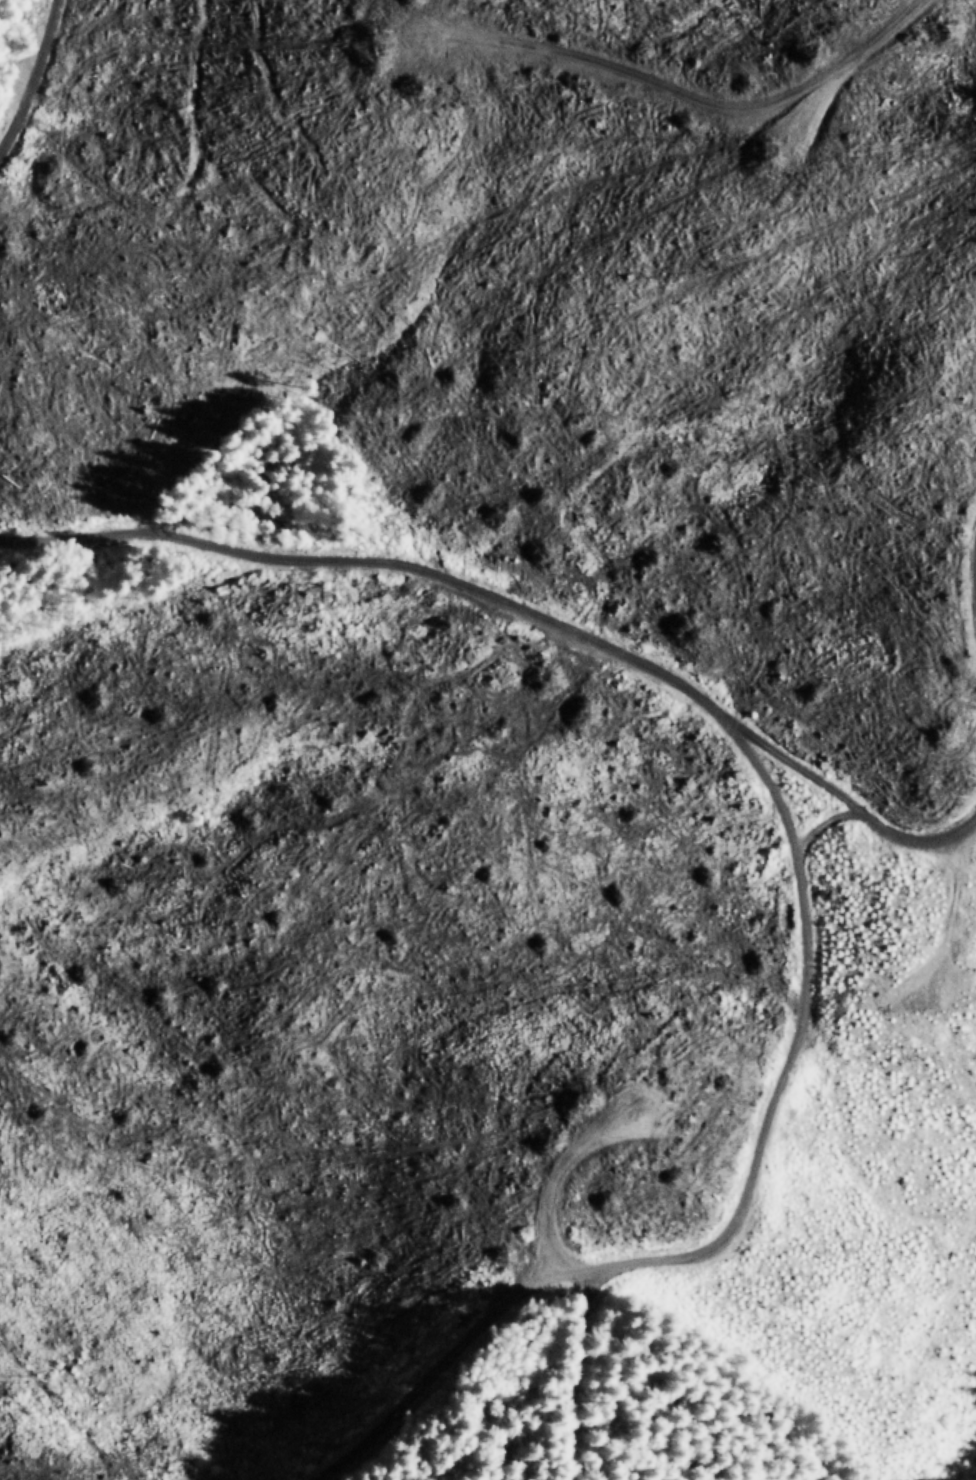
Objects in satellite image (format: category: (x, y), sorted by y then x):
road: (9, 20)
road: (588, 633)
road: (840, 812)
road: (800, 1195)
road: (498, 1430)

